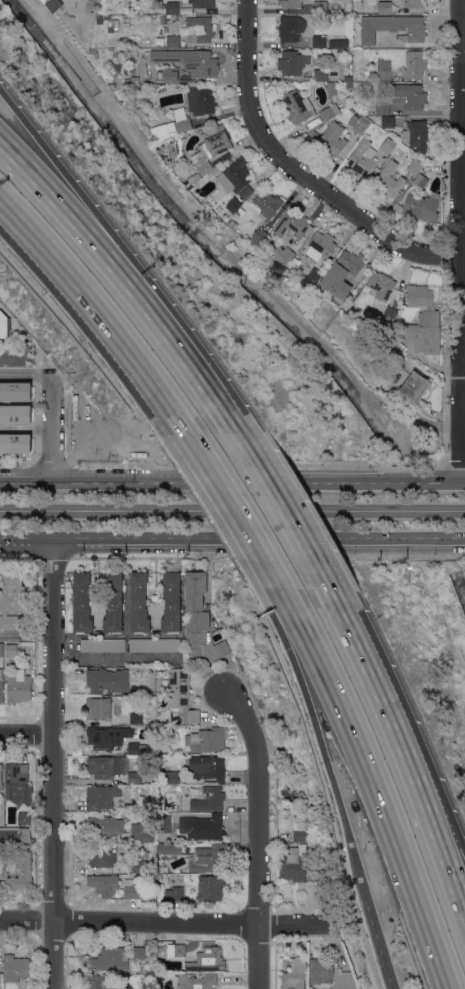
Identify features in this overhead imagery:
building: (45, 1)
building: (202, 3)
building: (291, 3)
building: (415, 3)
building: (52, 4)
building: (348, 6)
building: (384, 6)
building: (320, 7)
building: (173, 8)
building: (107, 17)
building: (162, 20)
building: (113, 25)
building: (392, 27)
building: (290, 28)
building: (198, 29)
building: (150, 40)
building: (169, 41)
building: (319, 41)
building: (338, 43)
building: (92, 54)
building: (188, 60)
building: (291, 63)
building: (415, 63)
road: (462, 69)
building: (384, 71)
building: (170, 75)
building: (320, 75)
building: (349, 85)
building: (331, 89)
building: (409, 96)
building: (200, 100)
building: (298, 107)
building: (382, 109)
building: (330, 112)
building: (179, 122)
building: (388, 122)
building: (359, 123)
building: (415, 134)
building: (333, 139)
building: (389, 145)
building: (211, 148)
building: (229, 155)
building: (362, 158)
building: (218, 162)
building: (415, 166)
road: (296, 172)
building: (236, 177)
building: (194, 178)
building: (388, 180)
building: (419, 181)
building: (267, 204)
building: (234, 205)
building: (421, 207)
building: (234, 225)
building: (294, 225)
building: (258, 237)
road: (460, 240)
road: (219, 243)
building: (320, 245)
road: (128, 254)
building: (284, 255)
building: (342, 274)
building: (314, 277)
road: (122, 284)
building: (381, 284)
building: (403, 306)
road: (96, 313)
building: (388, 316)
building: (423, 321)
building: (368, 322)
building: (4, 326)
building: (12, 357)
road: (462, 368)
road: (26, 374)
building: (419, 384)
building: (15, 391)
building: (16, 414)
road: (52, 428)
building: (16, 443)
road: (16, 462)
road: (255, 462)
road: (50, 463)
road: (454, 463)
road: (232, 481)
road: (234, 508)
road: (285, 508)
road: (214, 512)
road: (232, 536)
road: (17, 556)
road: (52, 556)
road: (267, 556)
building: (14, 592)
building: (114, 602)
building: (82, 603)
building: (139, 603)
building: (172, 603)
building: (13, 621)
building: (200, 623)
road: (26, 633)
building: (102, 645)
building: (155, 645)
building: (1, 649)
building: (12, 650)
building: (1, 673)
building: (108, 681)
building: (159, 683)
building: (19, 687)
building: (1, 692)
building: (182, 694)
building: (99, 708)
building: (136, 719)
road: (25, 733)
building: (107, 737)
building: (207, 740)
road: (318, 742)
building: (134, 749)
road: (402, 754)
road: (52, 762)
building: (107, 766)
building: (208, 767)
building: (280, 770)
building: (1, 777)
building: (134, 778)
building: (172, 778)
road: (377, 782)
building: (18, 785)
building: (101, 795)
building: (210, 799)
road: (440, 815)
building: (25, 818)
building: (164, 822)
building: (106, 826)
building: (202, 827)
building: (299, 829)
building: (143, 833)
road: (257, 834)
building: (16, 836)
building: (145, 854)
building: (101, 855)
building: (199, 856)
building: (293, 865)
building: (136, 866)
building: (25, 868)
building: (158, 877)
building: (103, 884)
building: (210, 887)
building: (132, 890)
building: (159, 892)
building: (178, 894)
road: (160, 921)
road: (378, 946)
building: (177, 950)
building: (140, 953)
building: (110, 959)
building: (208, 960)
building: (15, 968)
building: (321, 970)
building: (295, 975)
building: (160, 976)
building: (197, 981)
building: (99, 982)

